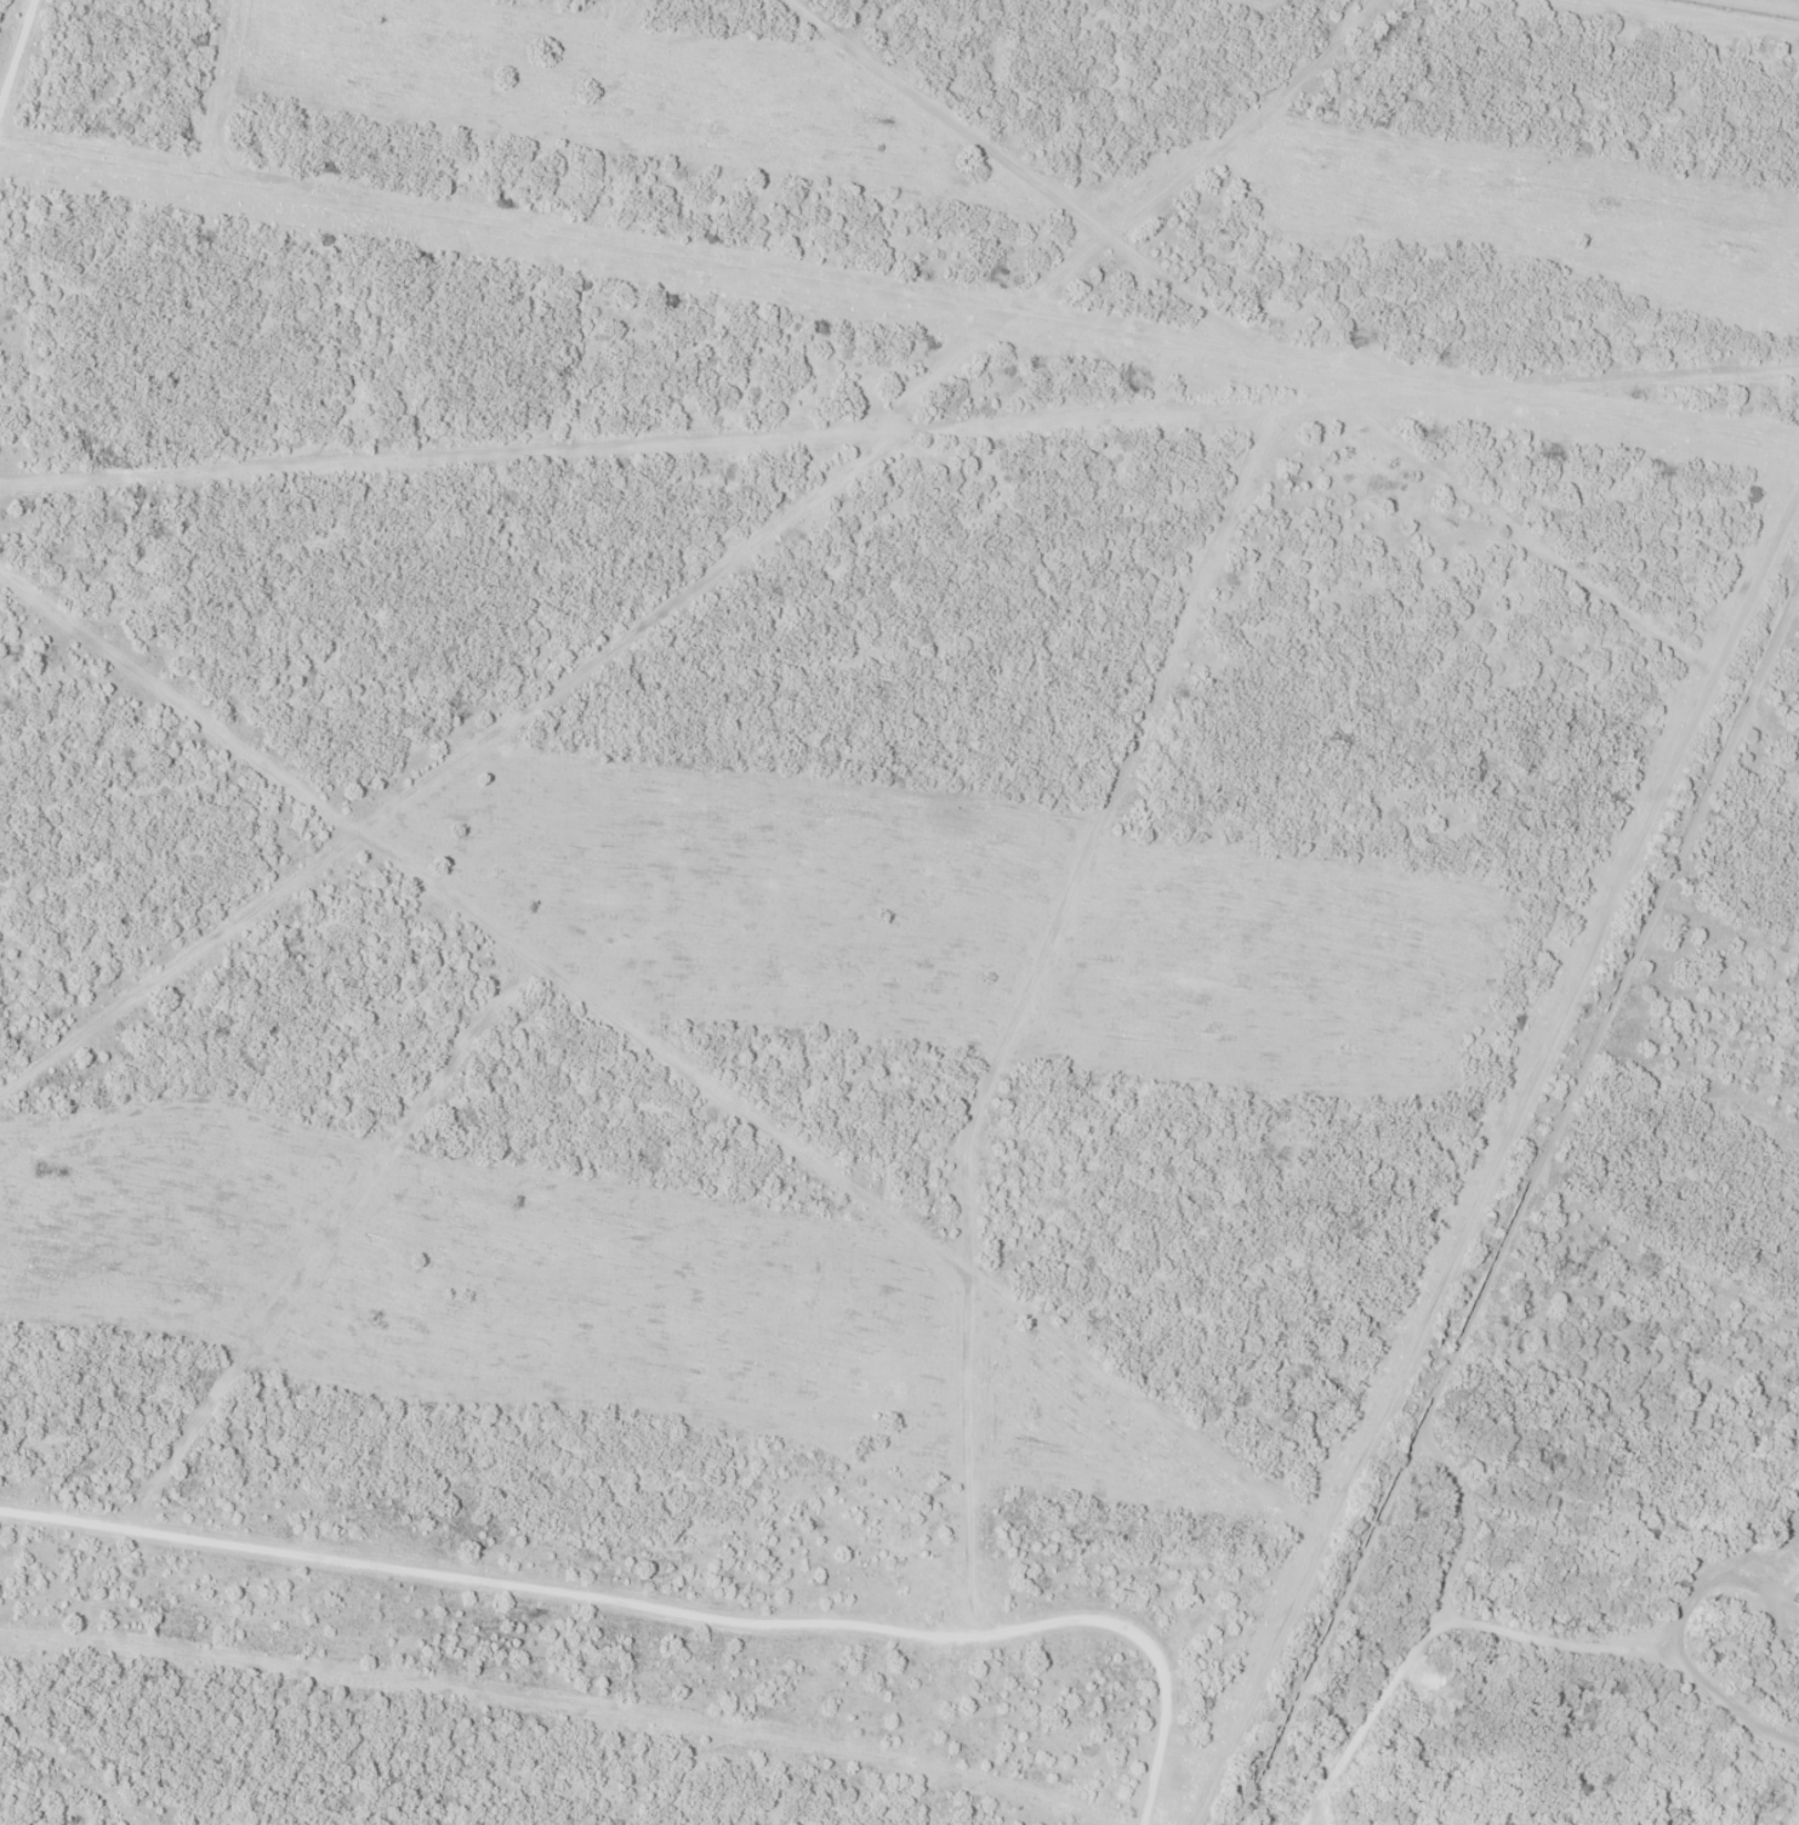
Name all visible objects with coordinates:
road: (705, 1564)

